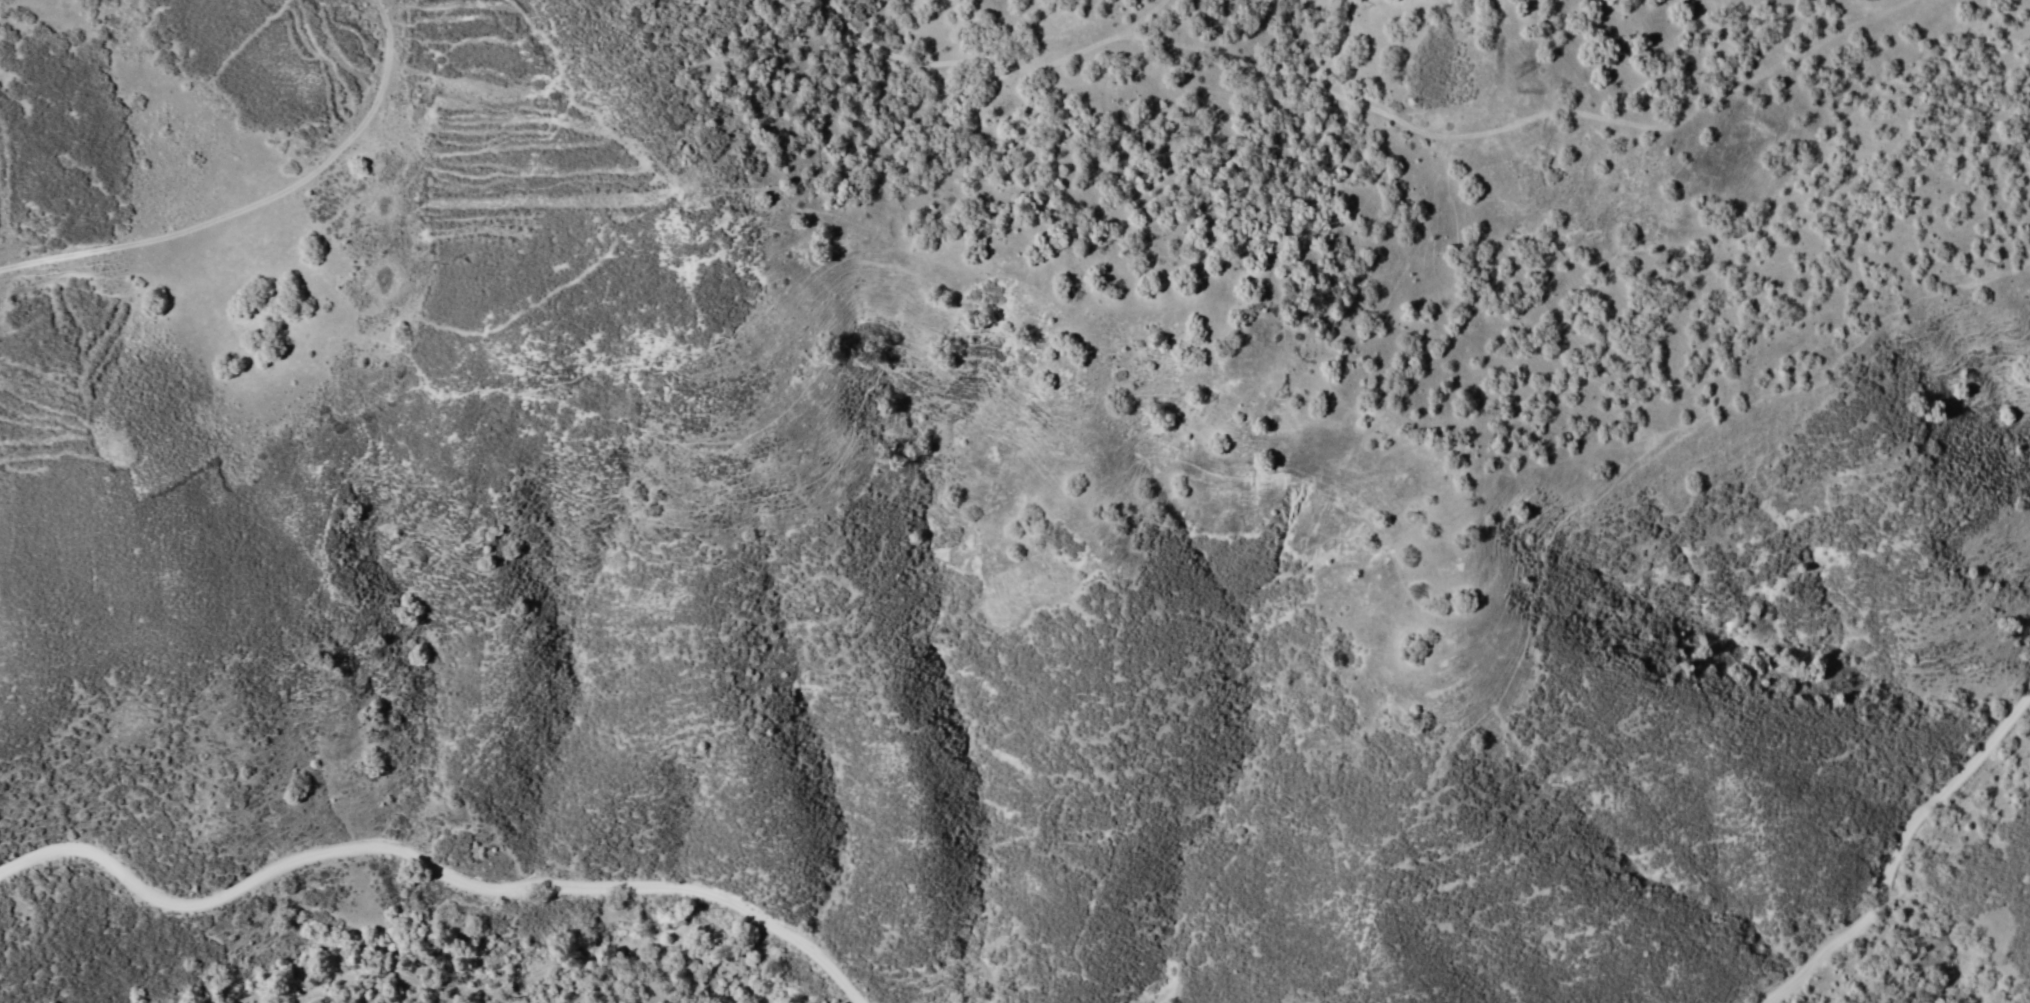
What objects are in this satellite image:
road: (1386, 118)
road: (269, 217)
road: (1901, 853)
road: (437, 861)

